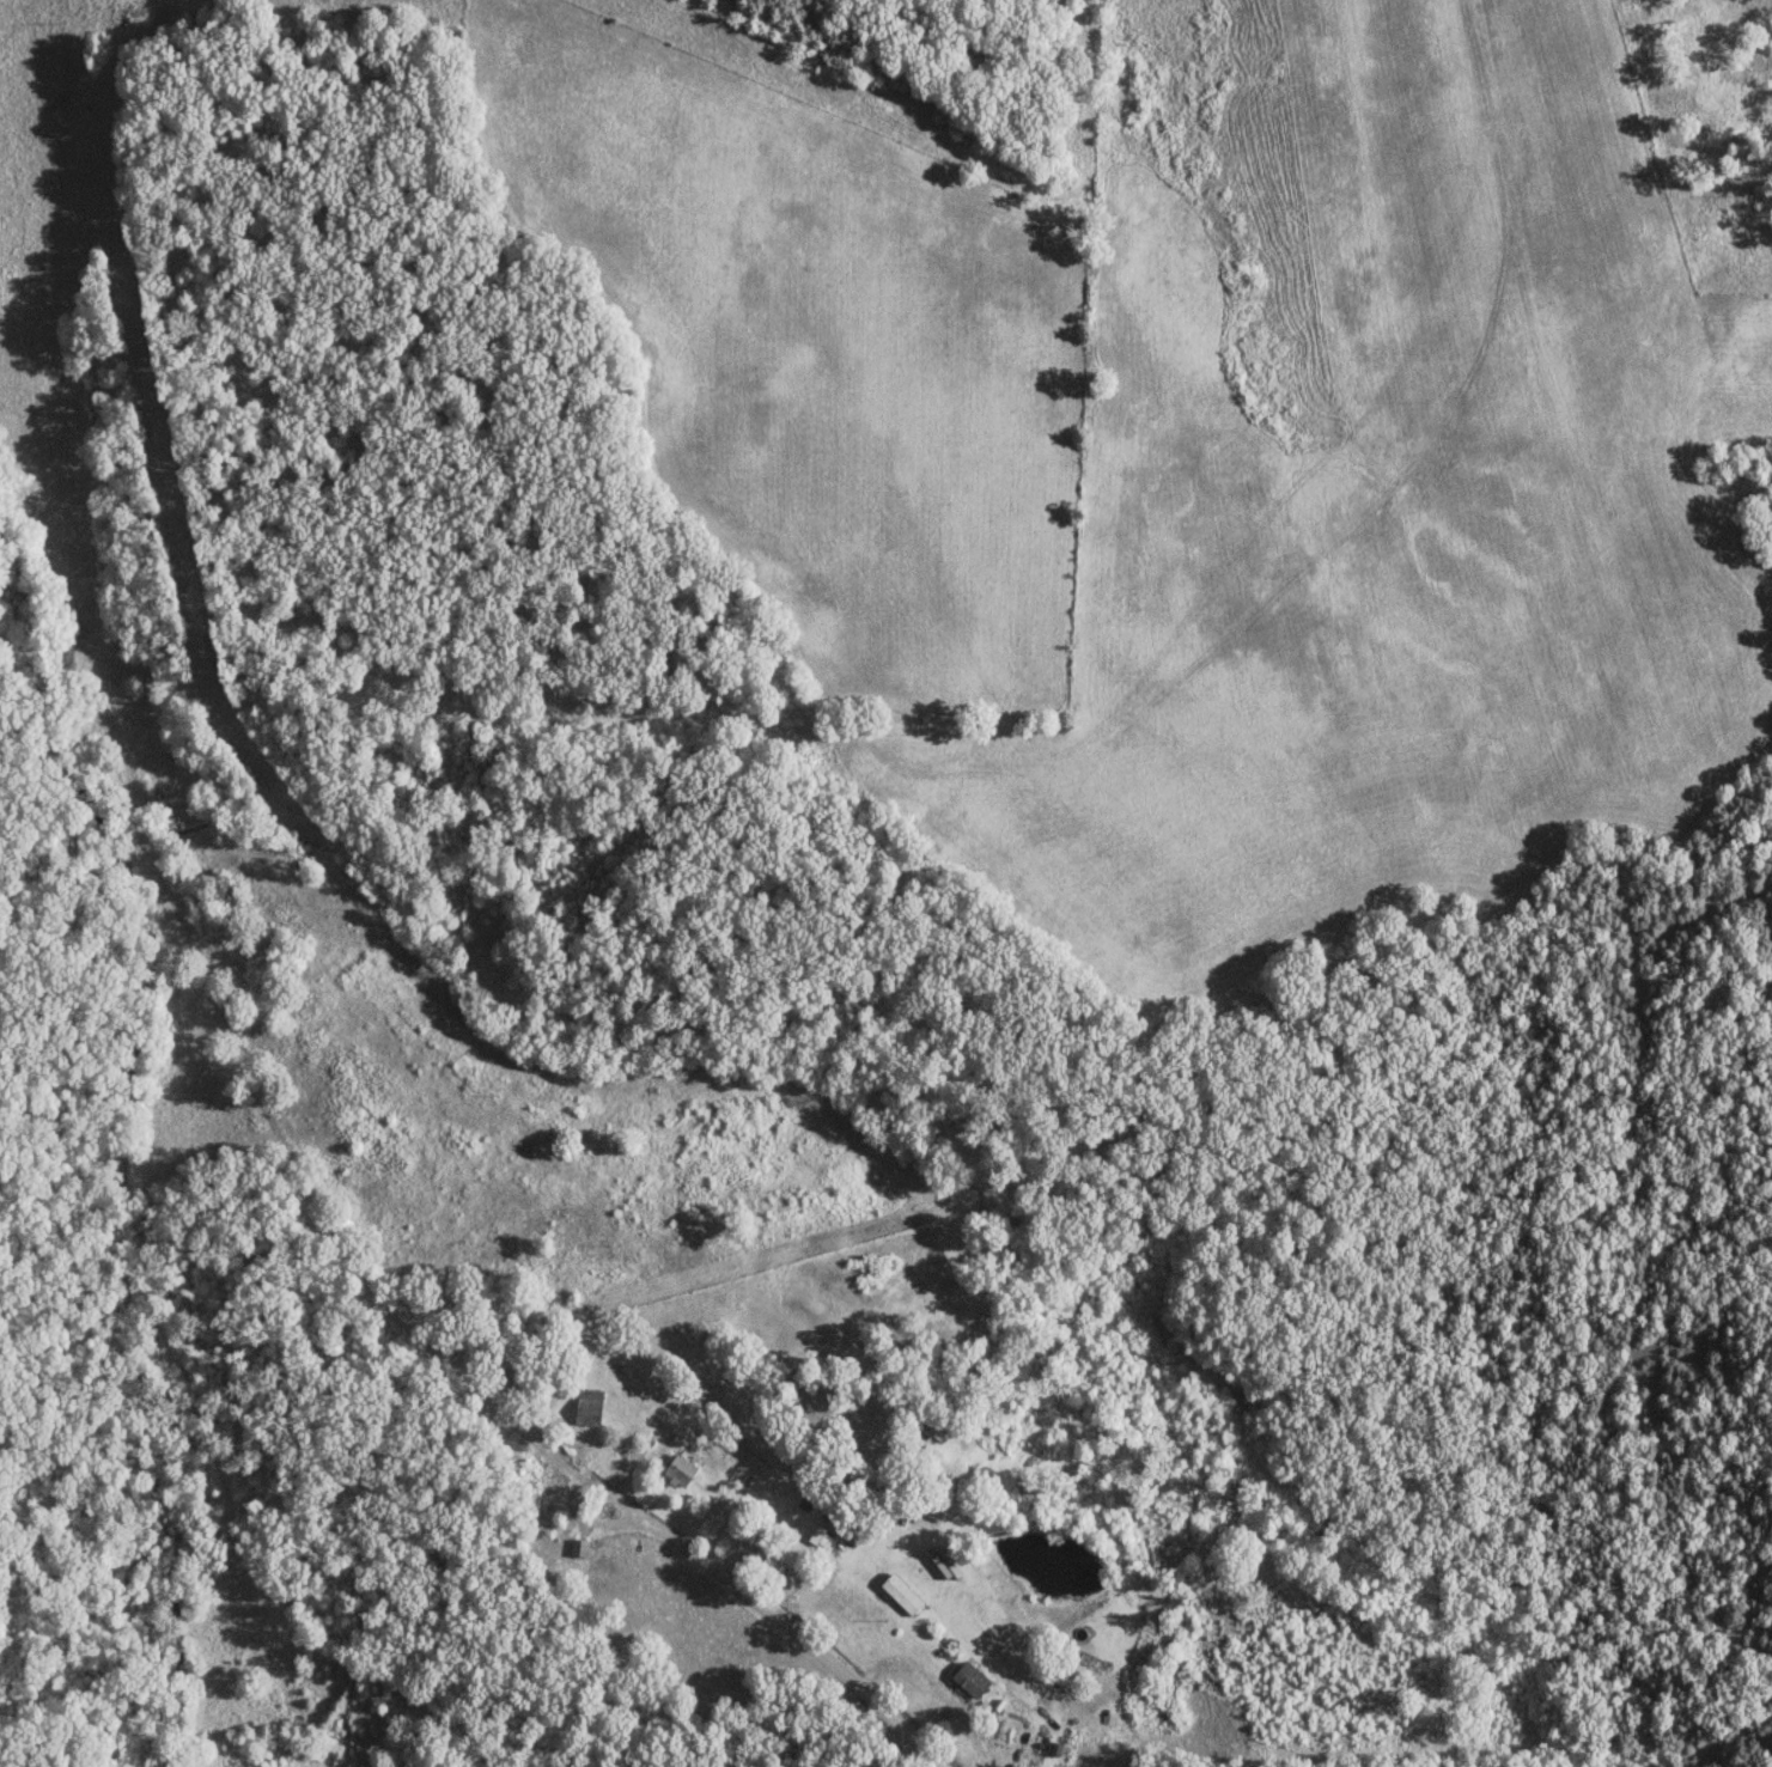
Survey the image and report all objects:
building: (587, 1407)
road: (522, 1419)
building: (681, 1472)
building: (818, 1537)
building: (577, 1548)
building: (774, 1556)

